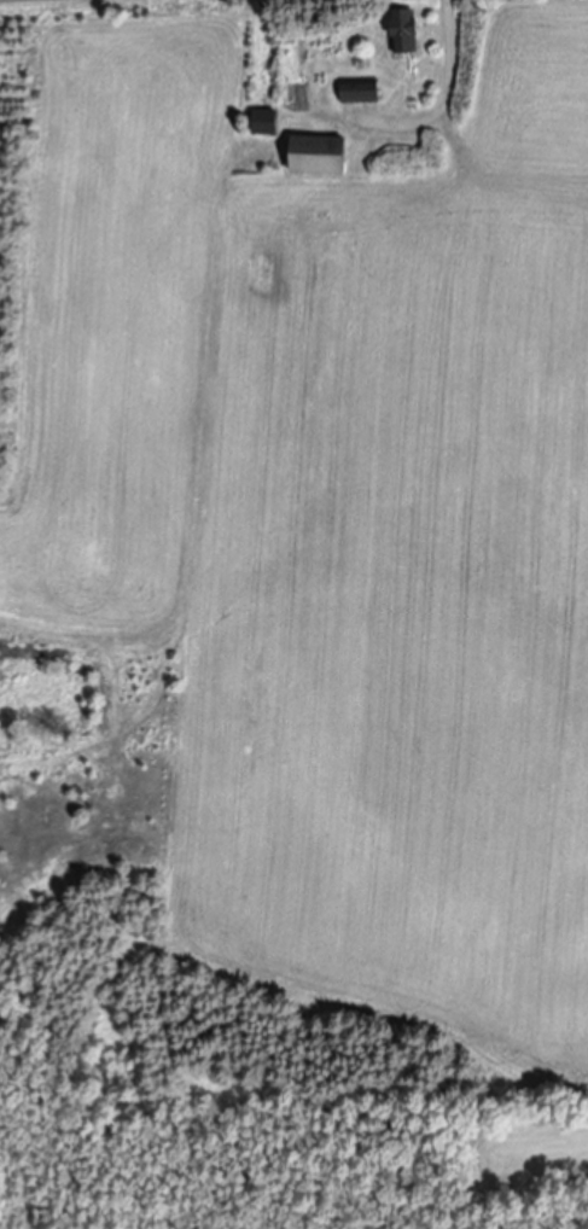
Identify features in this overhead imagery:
building: (407, 31)
building: (360, 92)
road: (448, 93)
building: (266, 123)
building: (319, 157)

